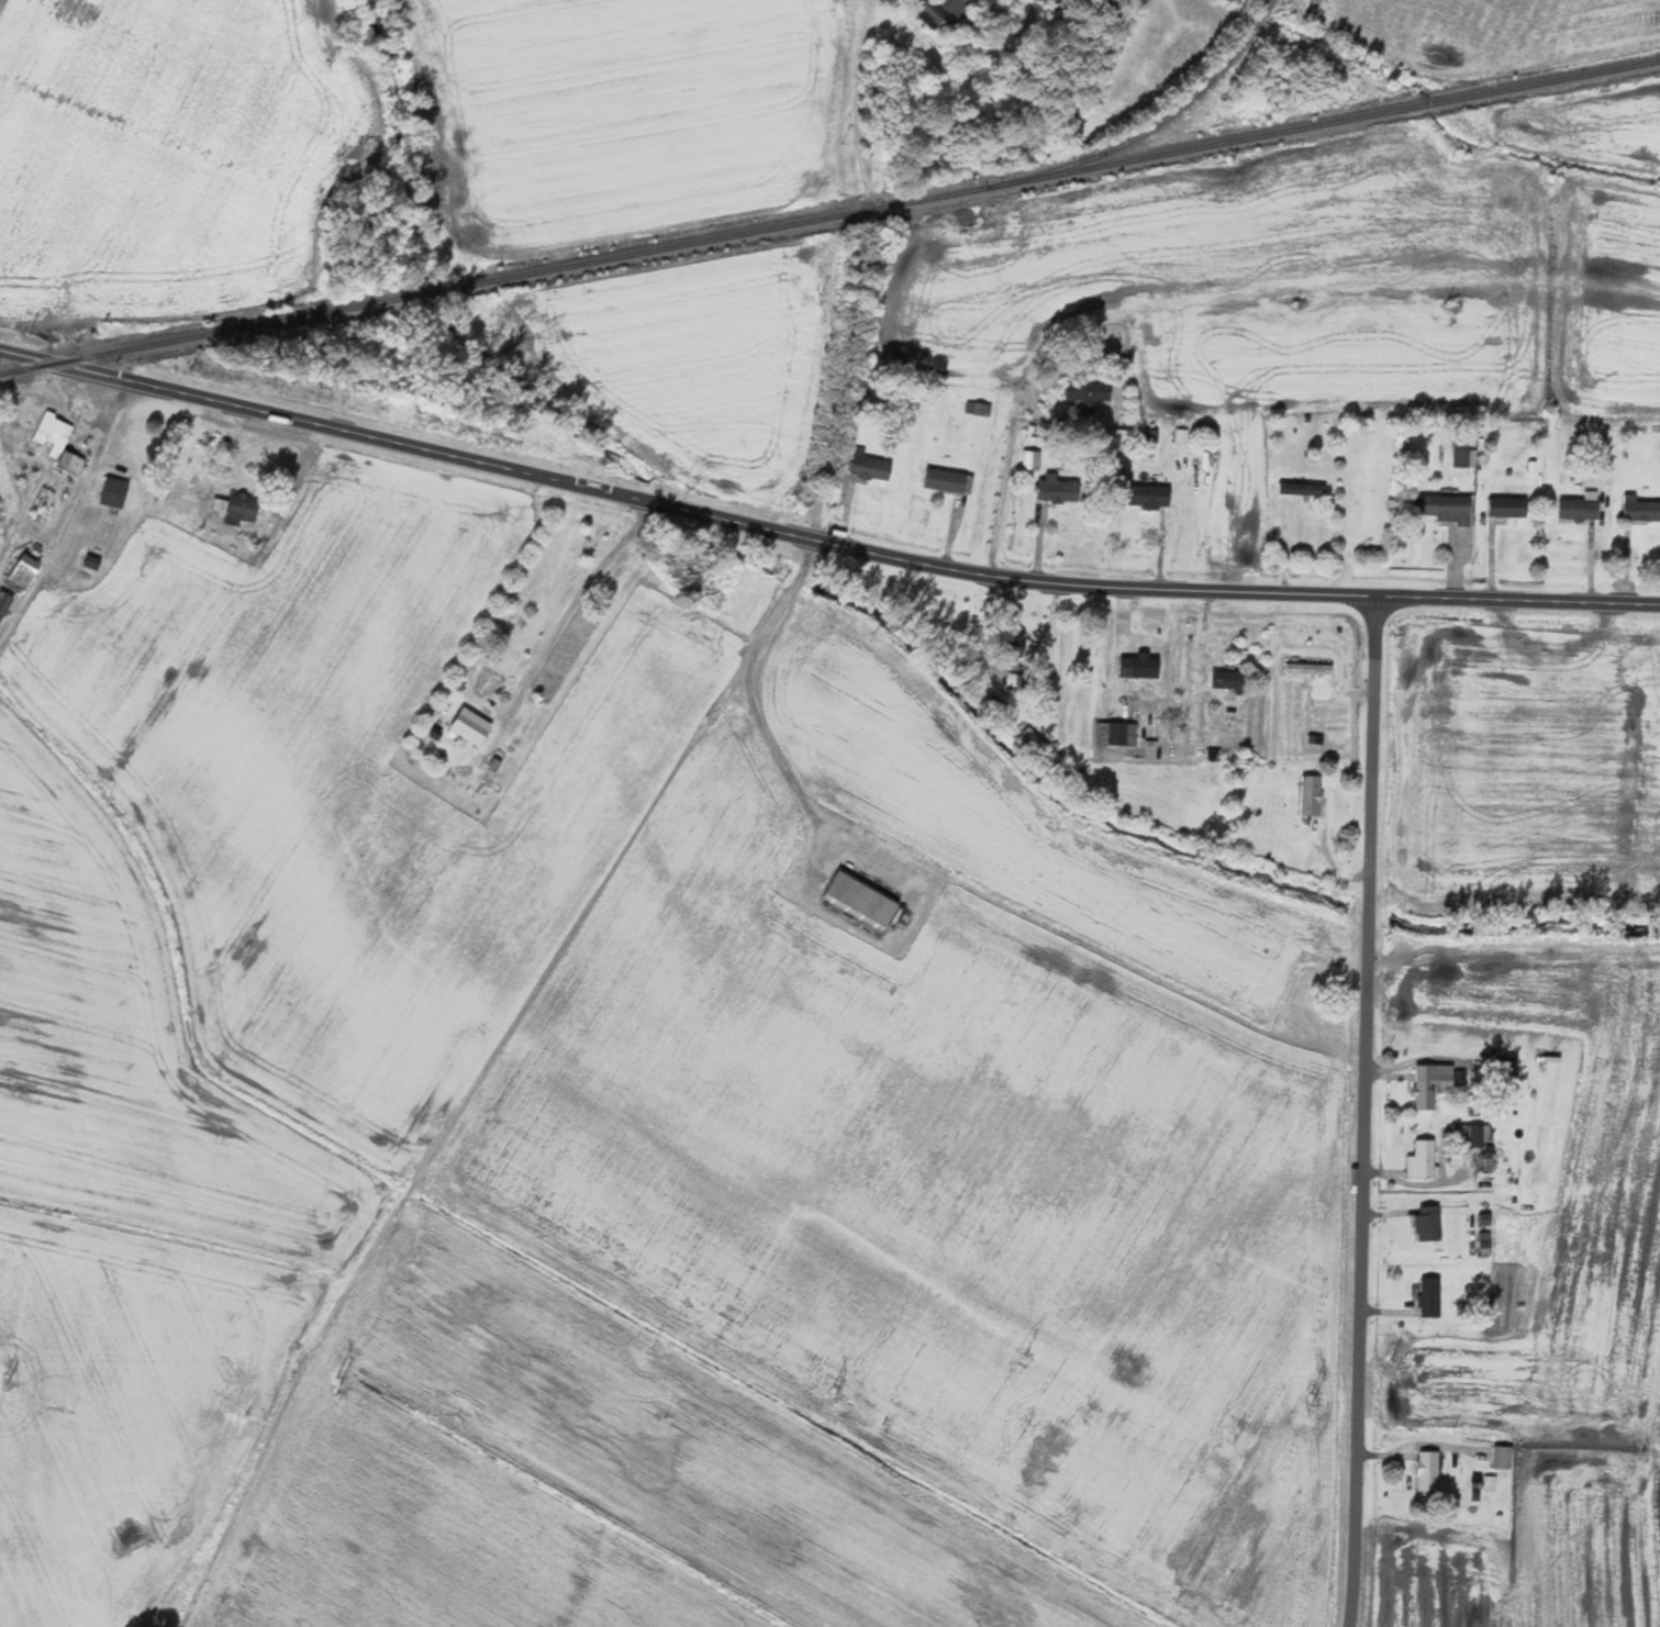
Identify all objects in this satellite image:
building: (939, 12)
railway: (1150, 129)
railway: (829, 216)
building: (864, 388)
building: (1087, 391)
building: (57, 441)
building: (1458, 458)
building: (1029, 459)
building: (867, 466)
building: (943, 480)
building: (1055, 489)
building: (1299, 489)
building: (111, 492)
building: (1147, 497)
building: (1506, 506)
building: (1440, 508)
building: (235, 509)
building: (1577, 509)
building: (1639, 509)
road: (821, 542)
building: (89, 561)
building: (21, 571)
building: (3, 602)
building: (1137, 666)
building: (1311, 668)
building: (1226, 679)
building: (469, 726)
building: (1113, 734)
building: (1308, 794)
building: (858, 900)
building: (1504, 1066)
building: (1431, 1084)
road: (1362, 1112)
building: (1466, 1135)
building: (1419, 1159)
building: (1425, 1223)
building: (1427, 1299)
power tower: (2, 1379)
power tower: (330, 1385)
power tower: (831, 1392)
power tower: (1311, 1400)
building: (1500, 1457)
building: (1426, 1471)

